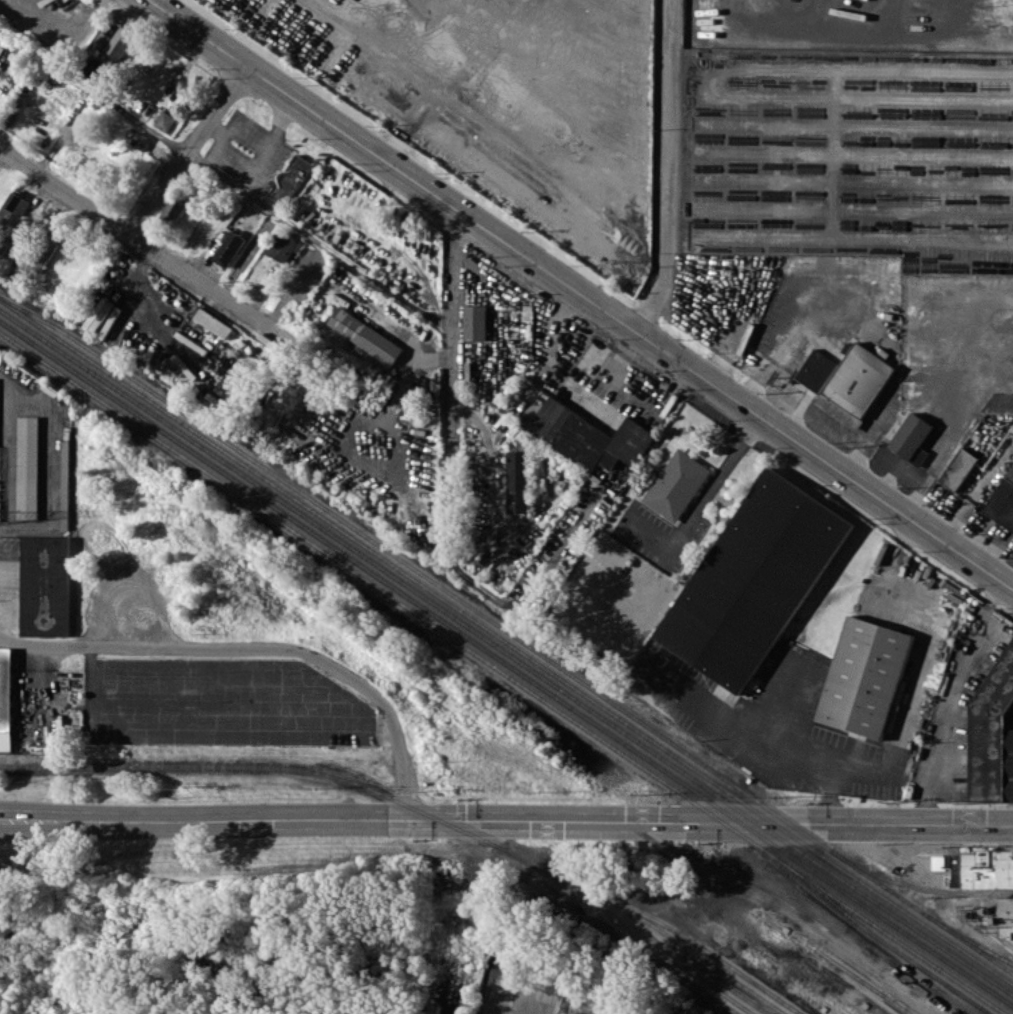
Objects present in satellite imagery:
building: (114, 42)
building: (164, 120)
building: (139, 141)
road: (189, 151)
road: (668, 169)
road: (225, 178)
building: (288, 180)
building: (13, 206)
building: (173, 210)
road: (148, 247)
building: (283, 247)
building: (229, 248)
building: (42, 253)
road: (248, 253)
road: (295, 284)
road: (581, 294)
building: (214, 322)
building: (475, 322)
building: (365, 335)
building: (816, 370)
building: (855, 384)
road: (334, 424)
building: (590, 436)
building: (912, 438)
building: (28, 467)
building: (958, 468)
building: (518, 481)
building: (677, 485)
road: (701, 499)
road: (449, 501)
building: (1003, 501)
building: (755, 579)
building: (46, 585)
railway: (508, 630)
railway: (506, 640)
road: (261, 646)
railway: (506, 652)
railway: (506, 664)
railway: (503, 672)
building: (865, 676)
road: (785, 694)
road: (911, 696)
building: (6, 697)
road: (953, 698)
road: (763, 731)
building: (993, 735)
railway: (422, 812)
road: (506, 823)
building: (976, 866)
building: (1007, 910)
railway: (624, 926)
railway: (888, 944)
railway: (690, 950)
railway: (852, 973)
railway: (730, 988)
railway: (874, 1009)
railway: (827, 1010)

